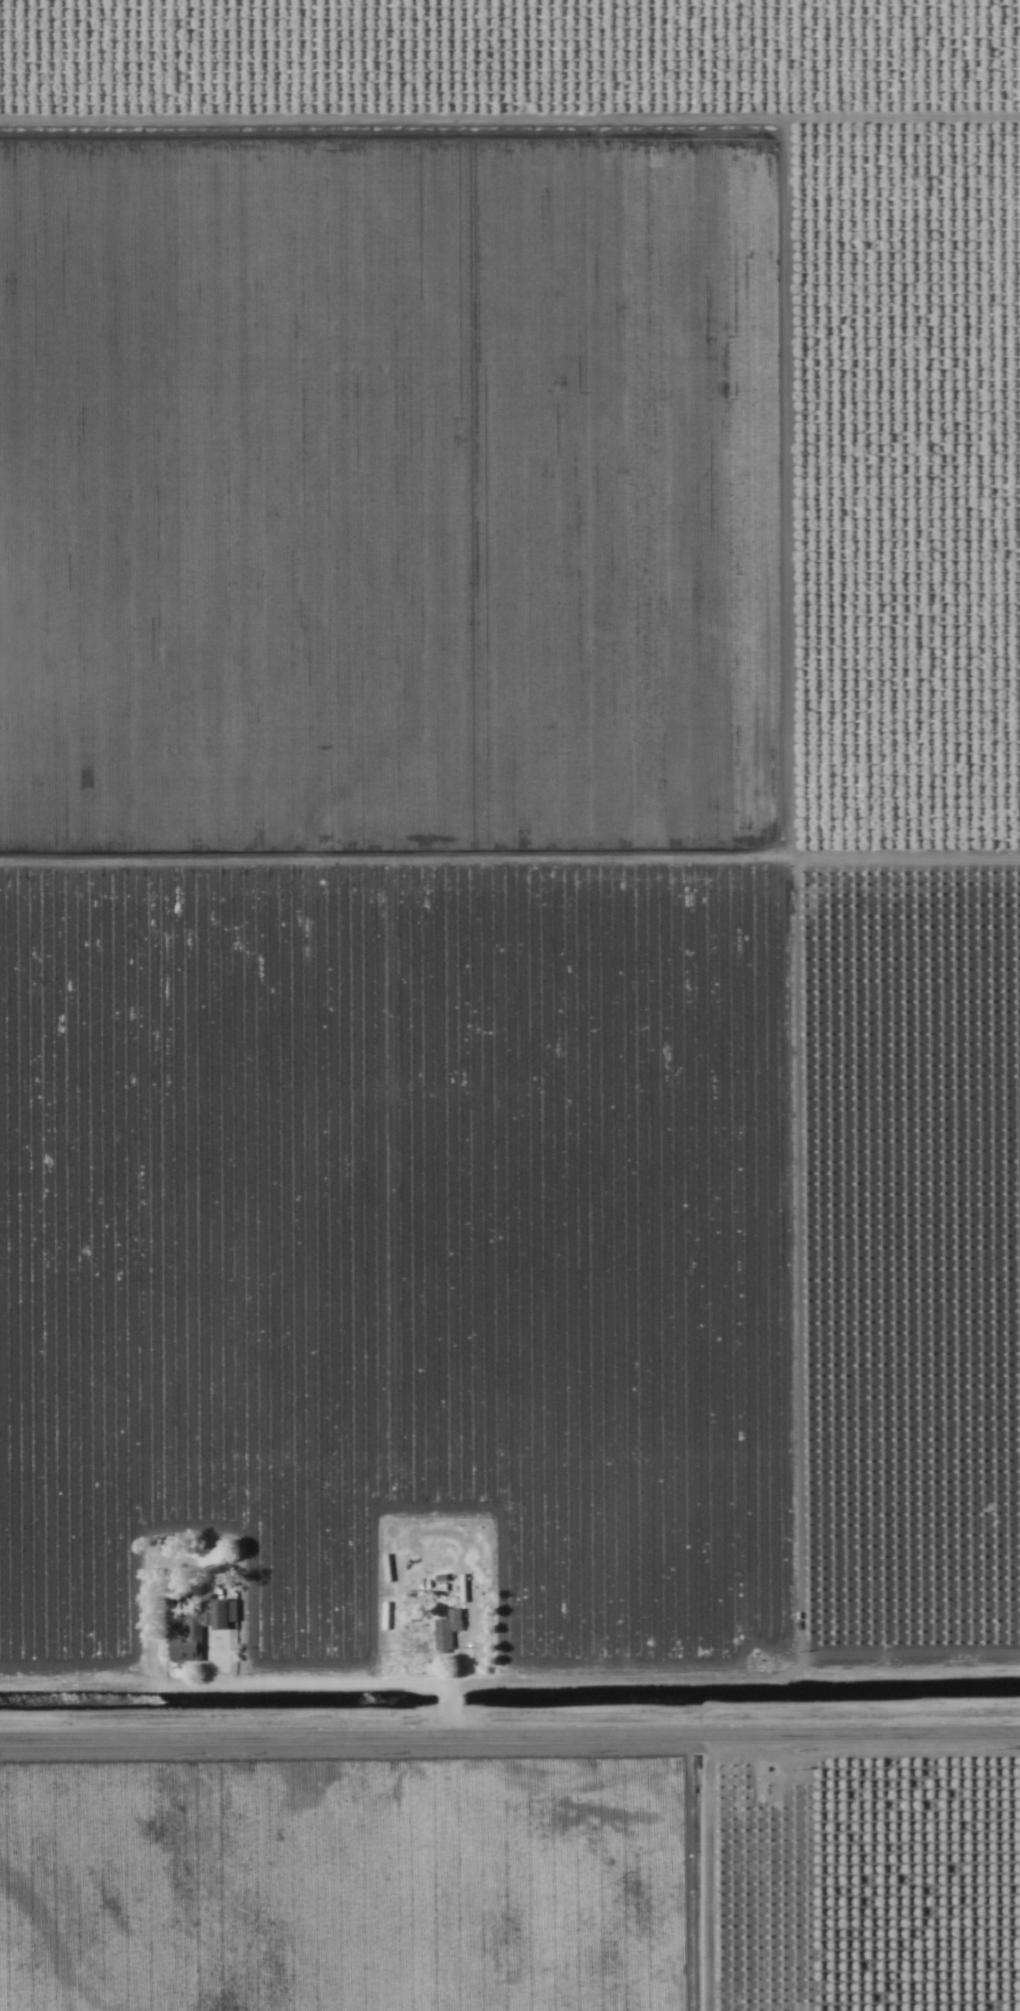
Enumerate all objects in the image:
crop: (510, 1005)
building: (208, 1560)
building: (198, 1629)
building: (447, 1631)
road: (734, 1679)
road: (255, 1684)
road: (510, 1733)
road: (767, 1871)

